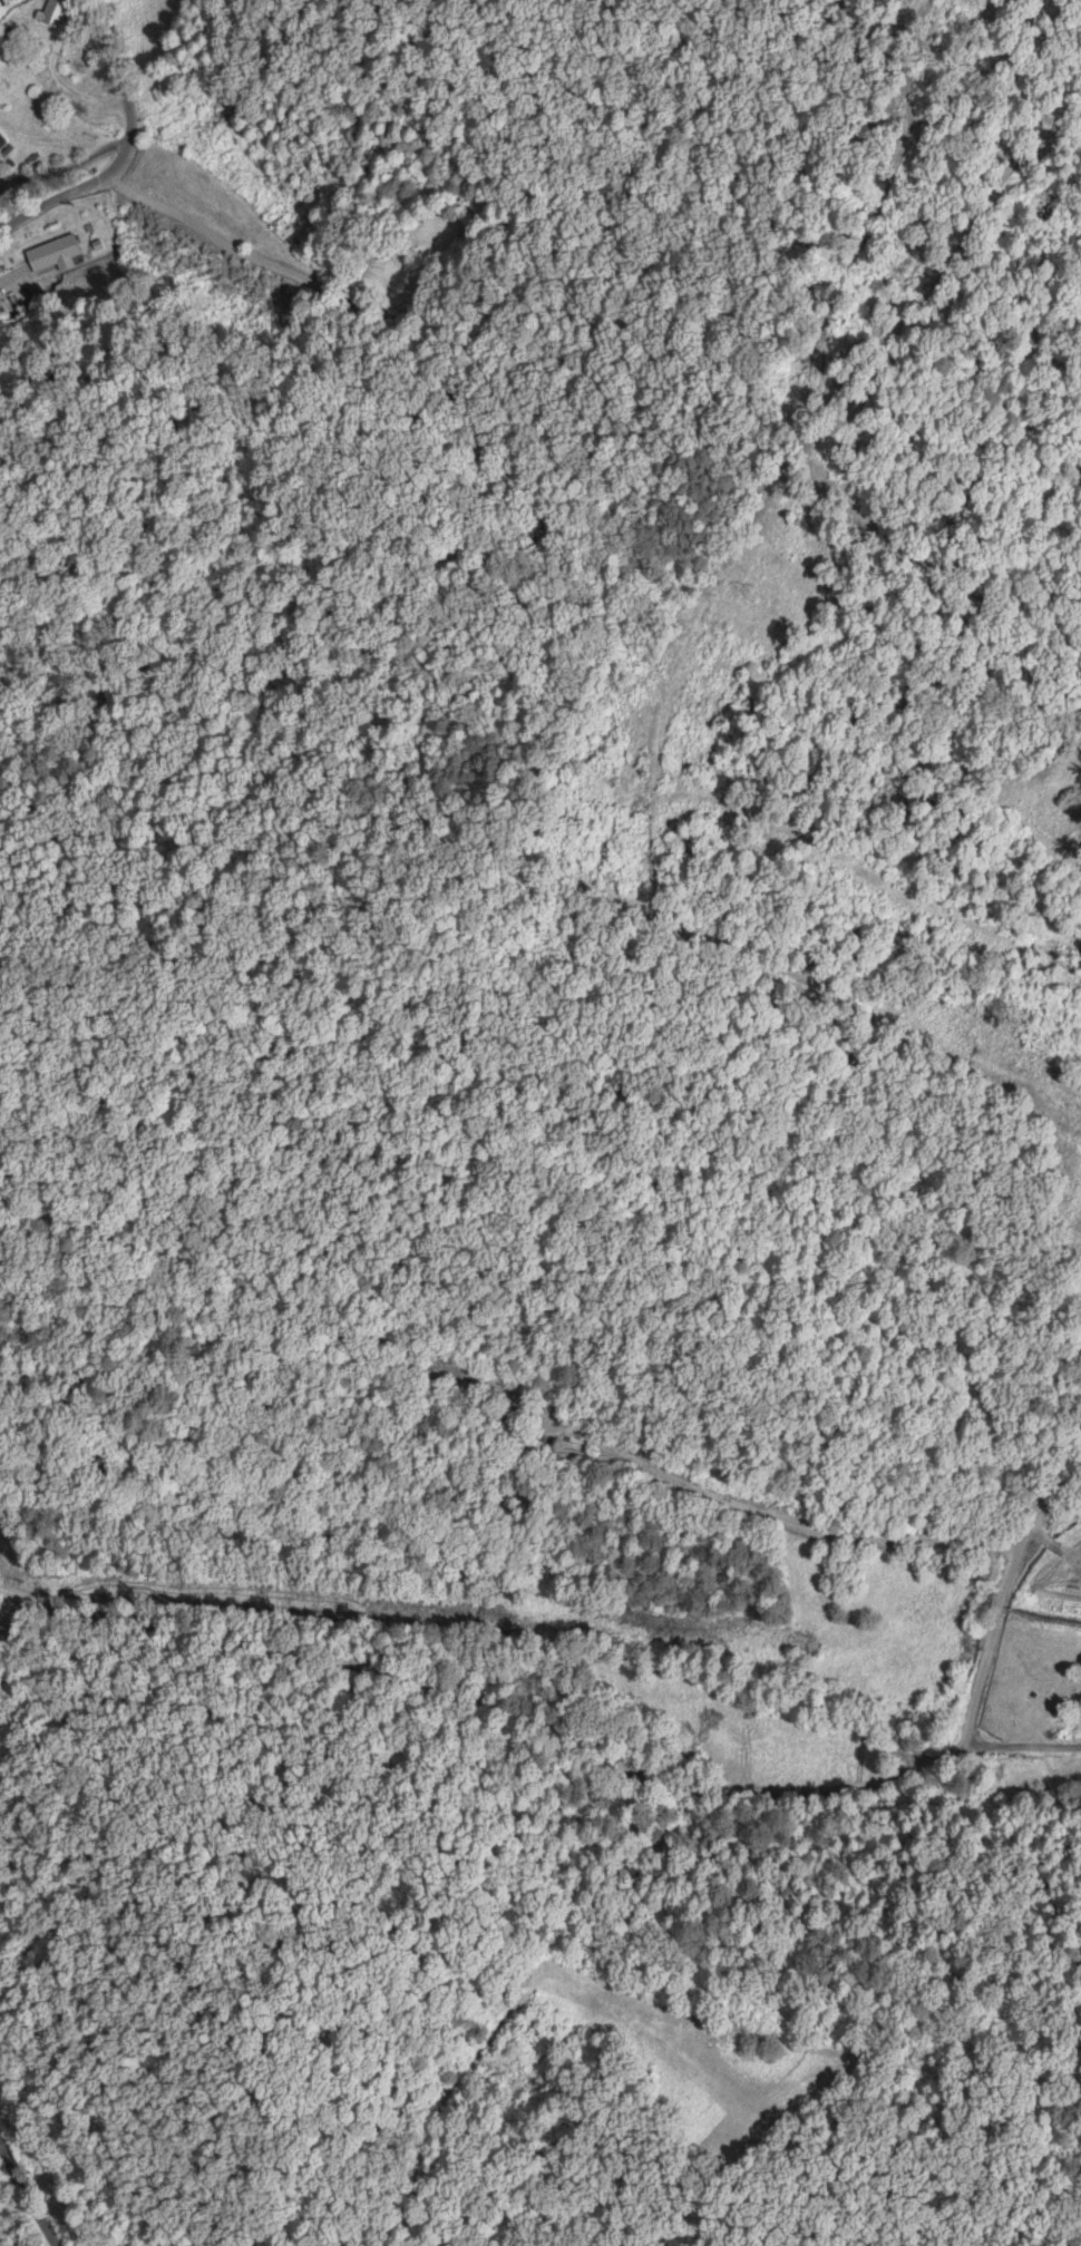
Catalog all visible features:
building: (52, 13)
building: (3, 140)
road: (145, 188)
building: (57, 253)
road: (627, 1771)
road: (38, 2176)

